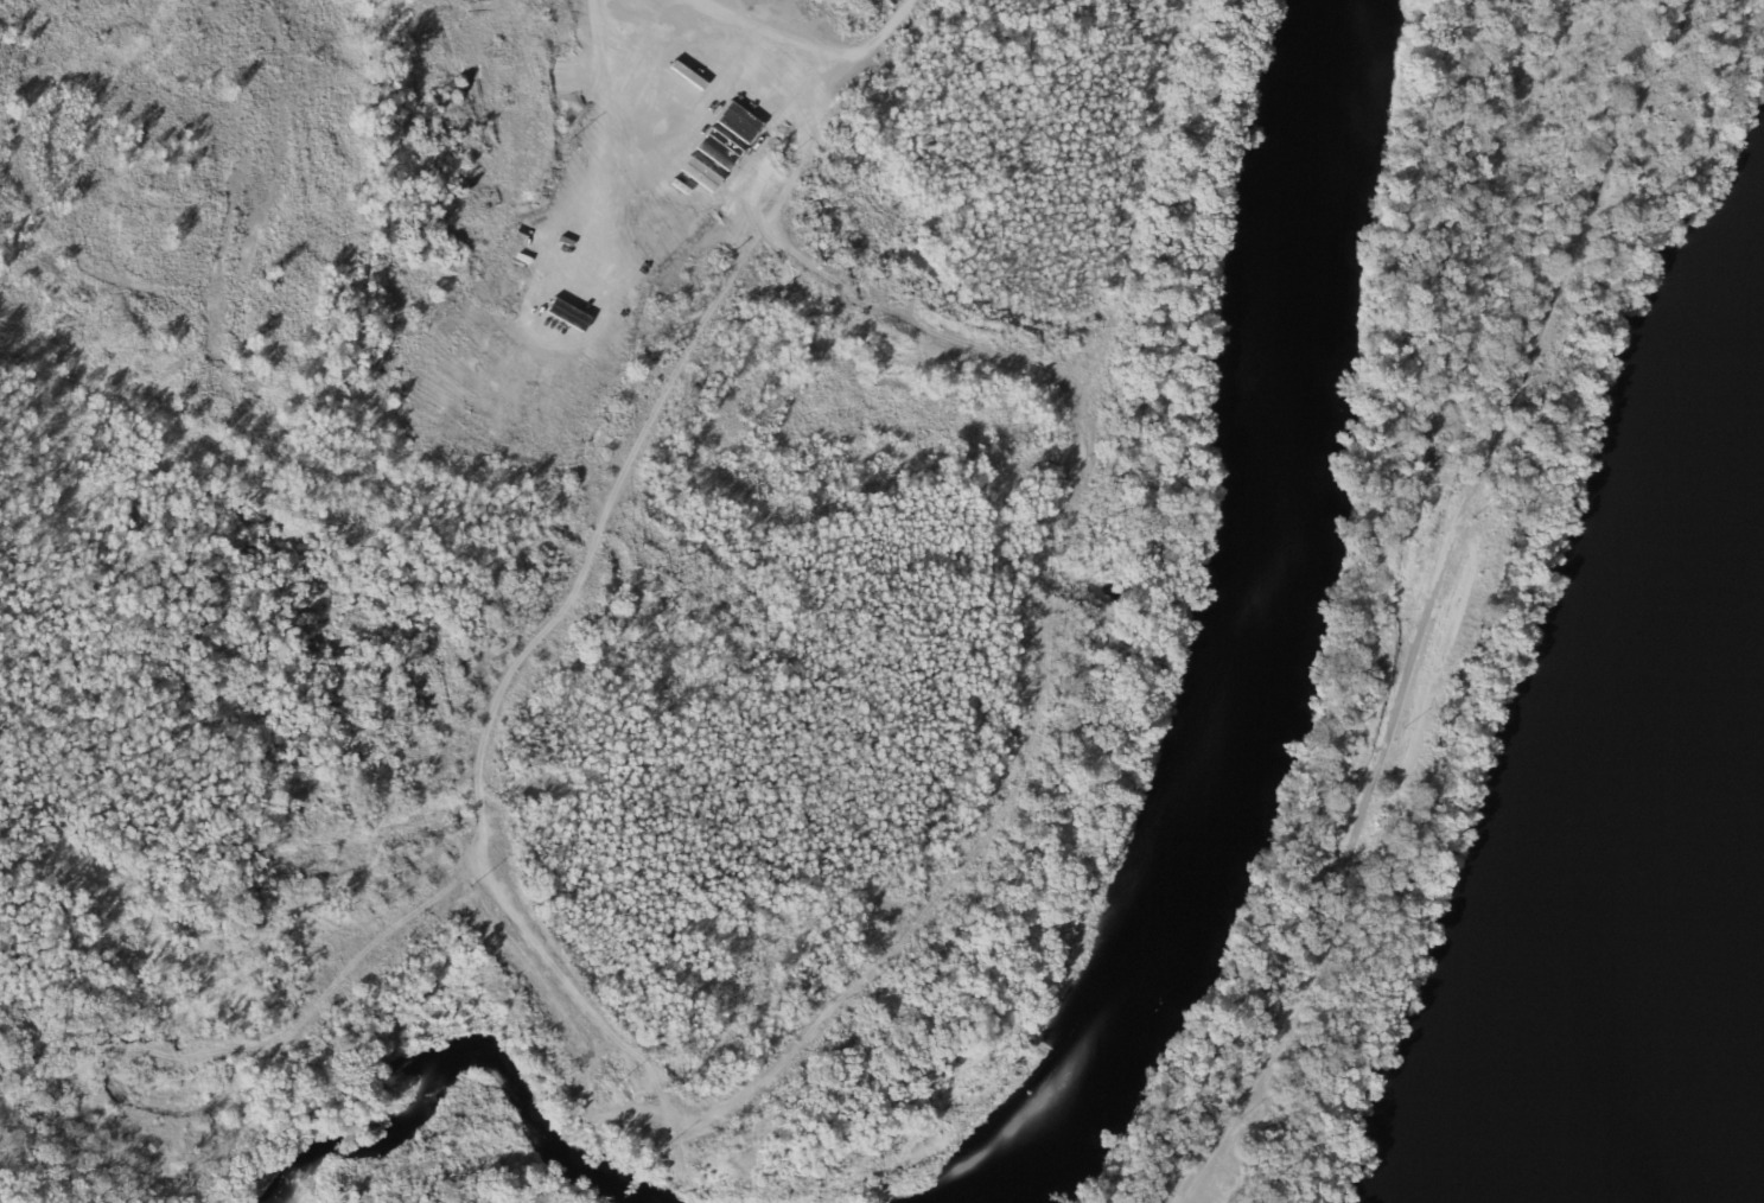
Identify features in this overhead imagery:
road: (605, 121)
road: (1432, 601)
river: (1267, 645)

